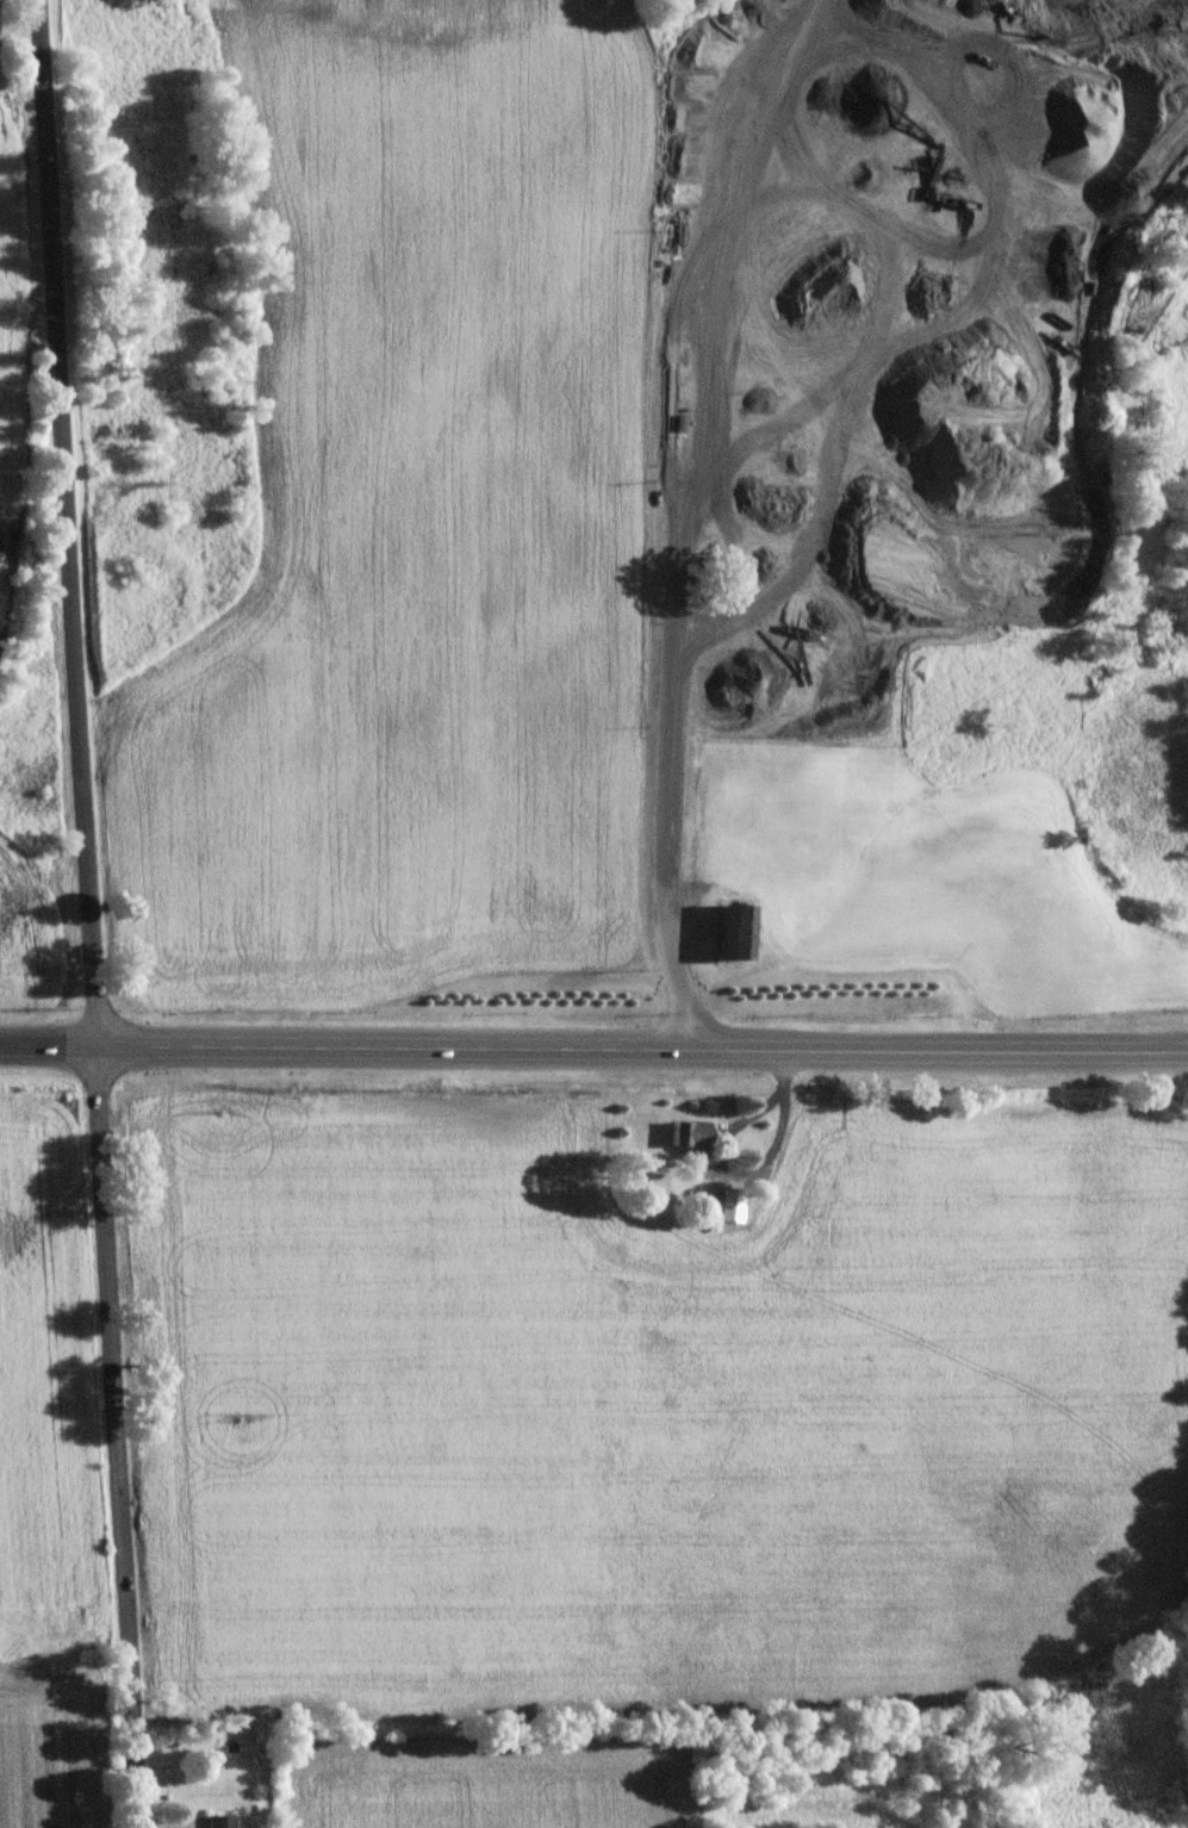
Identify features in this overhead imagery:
road: (667, 665)
road: (88, 913)
building: (732, 931)
road: (48, 1043)
road: (642, 1049)
building: (686, 1136)
building: (728, 1202)
building: (666, 1211)
building: (217, 1821)

